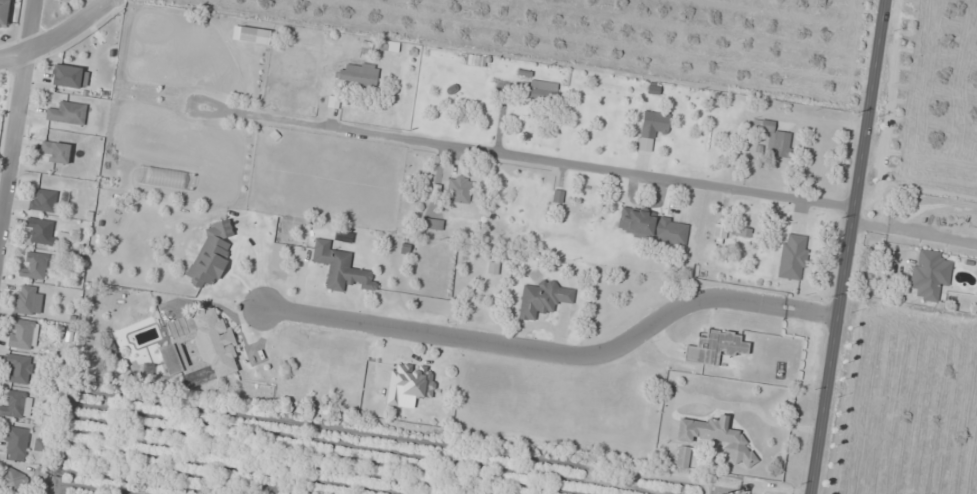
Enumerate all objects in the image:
building: (4, 12)
building: (251, 34)
road: (59, 36)
building: (480, 60)
building: (358, 75)
building: (70, 76)
building: (542, 90)
road: (16, 113)
building: (68, 113)
building: (652, 128)
building: (774, 138)
building: (57, 151)
road: (527, 157)
building: (458, 189)
building: (43, 200)
building: (432, 223)
building: (652, 226)
building: (41, 229)
road: (849, 247)
building: (210, 255)
building: (793, 256)
building: (36, 264)
building: (340, 267)
building: (929, 273)
building: (24, 298)
building: (542, 298)
building: (21, 333)
building: (715, 347)
building: (198, 348)
road: (557, 355)
building: (19, 369)
building: (410, 385)
building: (15, 403)
building: (716, 437)
building: (16, 443)
building: (682, 458)
building: (11, 480)

